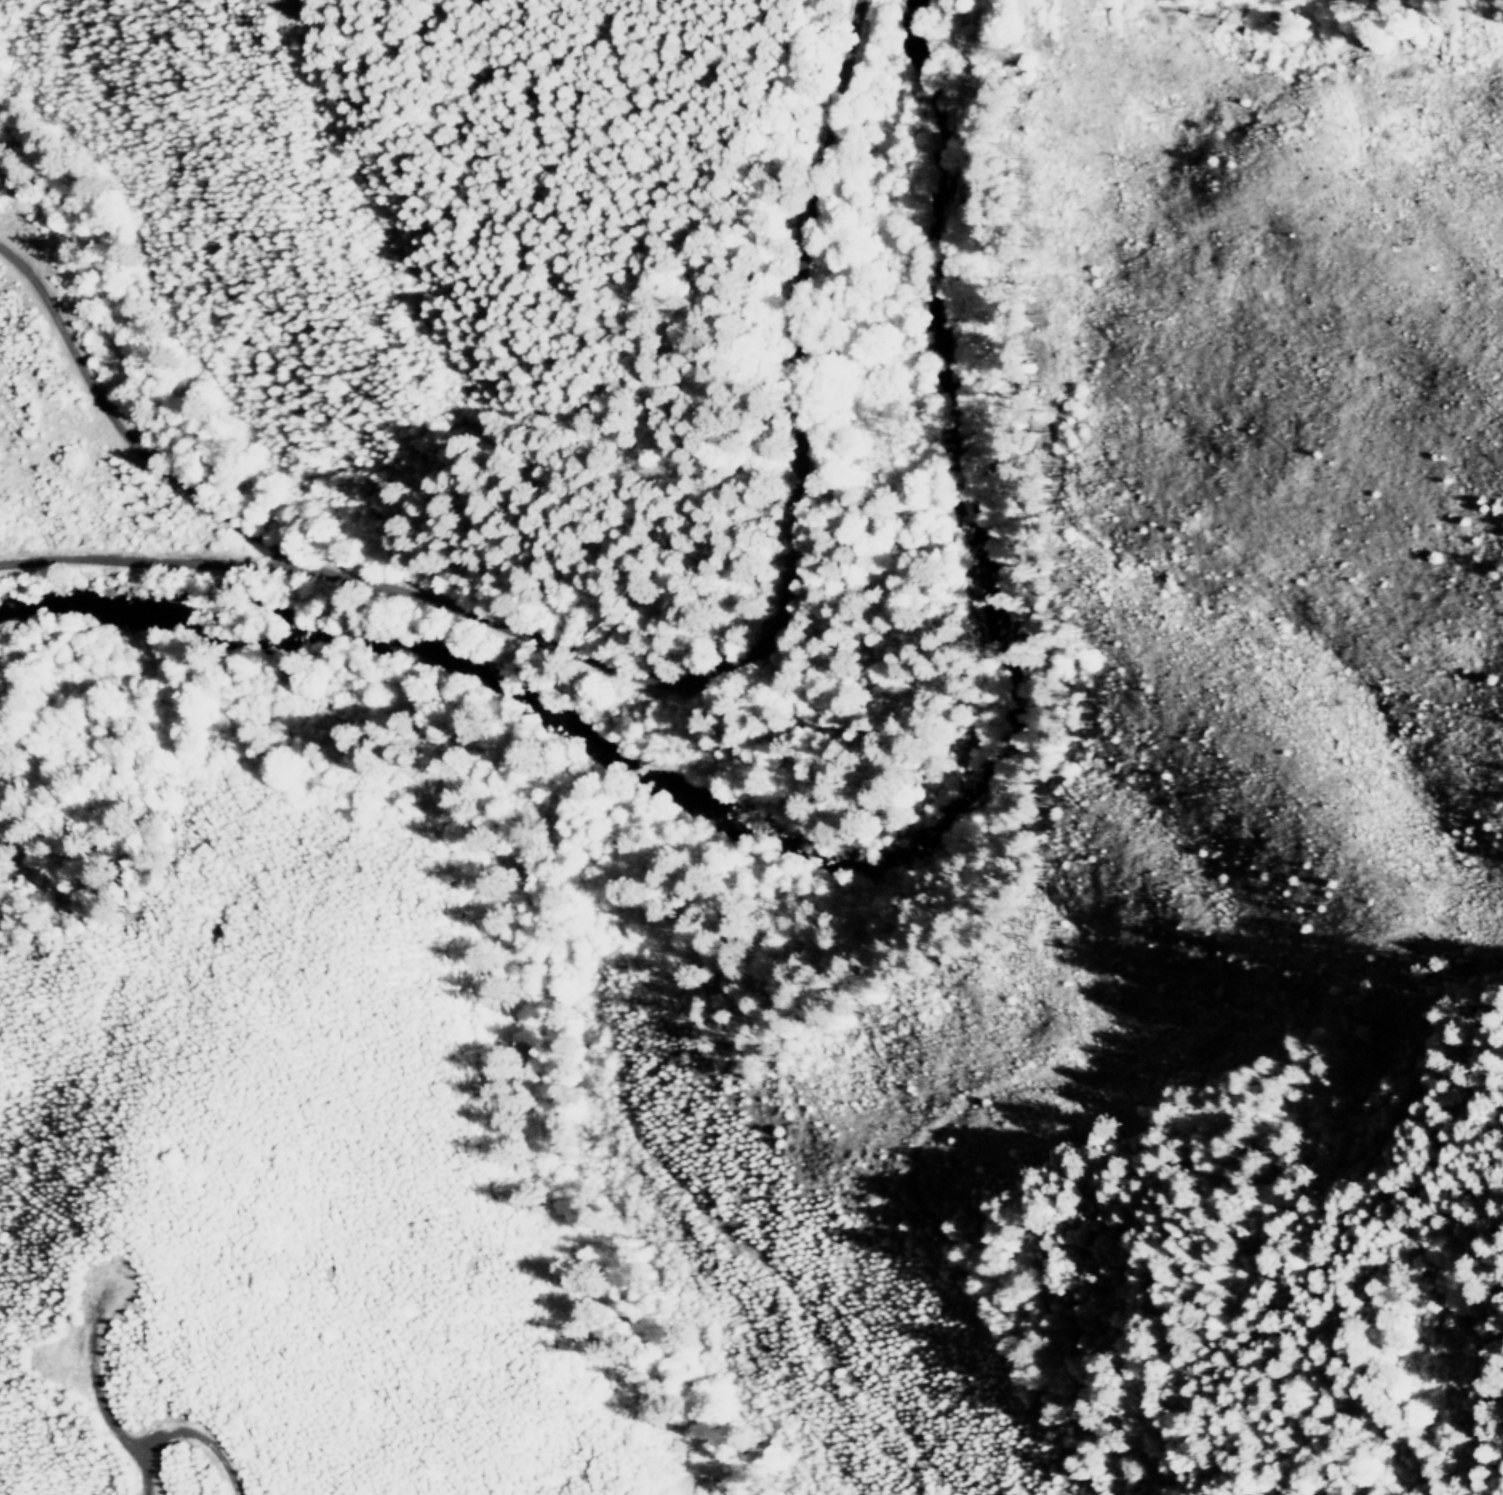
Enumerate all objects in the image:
road: (120, 436)
road: (713, 671)
river: (876, 848)

